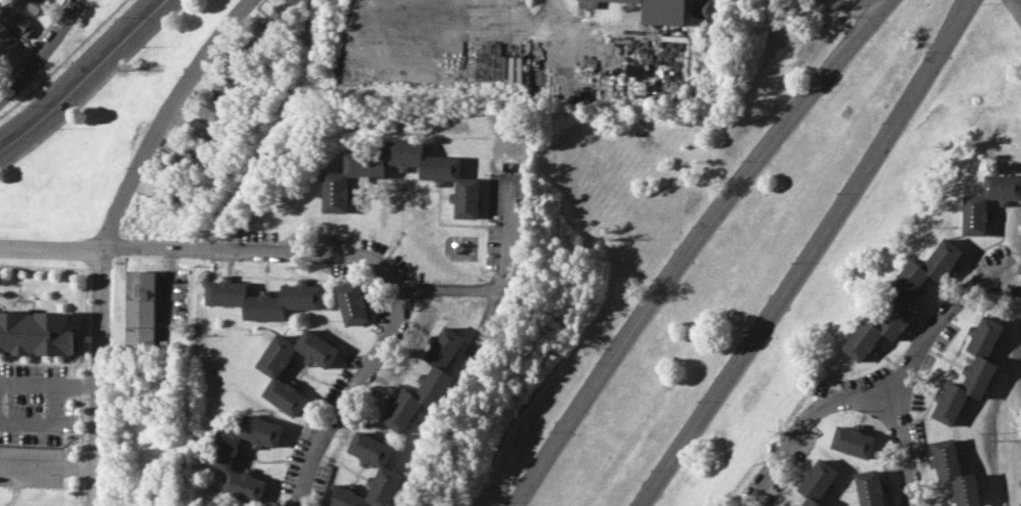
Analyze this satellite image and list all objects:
building: (298, 3)
building: (586, 3)
street lamp: (983, 3)
building: (35, 4)
street lamp: (84, 5)
road: (844, 5)
road: (1016, 5)
building: (664, 11)
building: (279, 13)
street lamp: (851, 16)
building: (21, 23)
building: (268, 34)
road: (580, 37)
building: (7, 40)
street lamp: (146, 45)
street lamp: (925, 50)
road: (45, 55)
road: (63, 60)
street lamp: (46, 65)
building: (239, 67)
building: (634, 69)
street lamp: (178, 75)
road: (80, 76)
building: (561, 84)
building: (224, 88)
street lamp: (792, 95)
building: (211, 108)
park: (95, 114)
road: (168, 119)
street lamp: (881, 121)
street lamp: (61, 127)
building: (198, 128)
building: (186, 151)
street lamp: (740, 160)
street lamp: (125, 167)
building: (450, 177)
building: (166, 191)
street lamp: (835, 192)
building: (989, 202)
street lamp: (690, 225)
street lamp: (79, 238)
road: (691, 242)
park: (719, 247)
road: (54, 251)
street lamp: (1012, 251)
road: (808, 254)
road: (237, 255)
street lamp: (790, 262)
road: (53, 267)
road: (499, 287)
street lamp: (638, 293)
building: (903, 297)
building: (266, 298)
building: (353, 303)
street lamp: (938, 303)
building: (142, 310)
street lamp: (744, 330)
building: (35, 332)
street lamp: (897, 355)
street lamp: (592, 362)
building: (974, 369)
road: (901, 371)
building: (274, 372)
road: (362, 377)
road: (26, 378)
building: (428, 378)
road: (99, 379)
road: (76, 381)
street lamp: (696, 400)
street lamp: (861, 410)
road: (43, 416)
street lamp: (909, 418)
road: (802, 426)
street lamp: (546, 430)
building: (855, 440)
building: (226, 453)
street lamp: (649, 469)
building: (386, 470)
building: (956, 472)
building: (819, 481)
building: (871, 487)
street lamp: (501, 501)
building: (796, 505)

